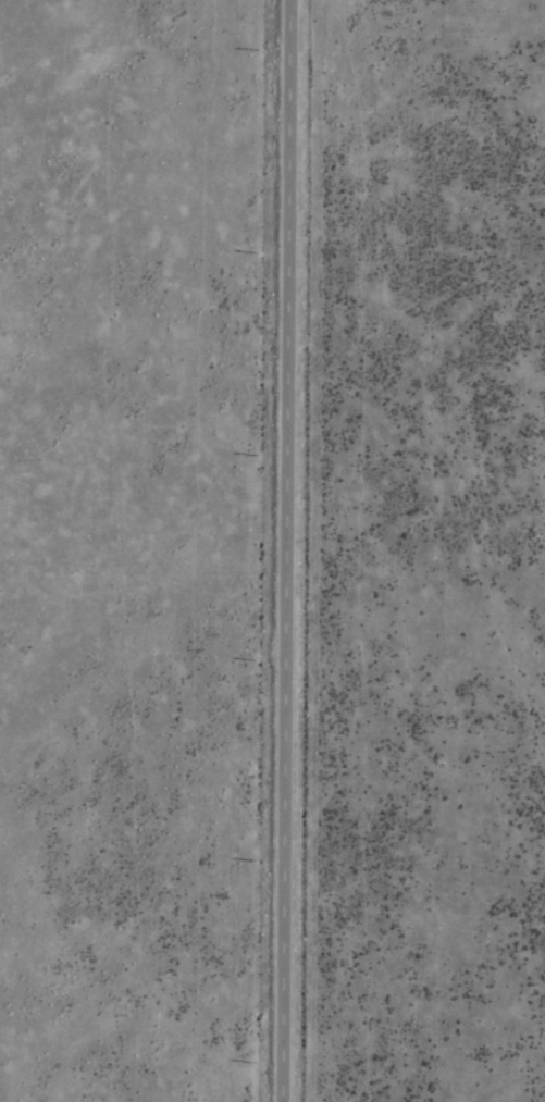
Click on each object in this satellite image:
crop: (272, 550)
road: (280, 550)

